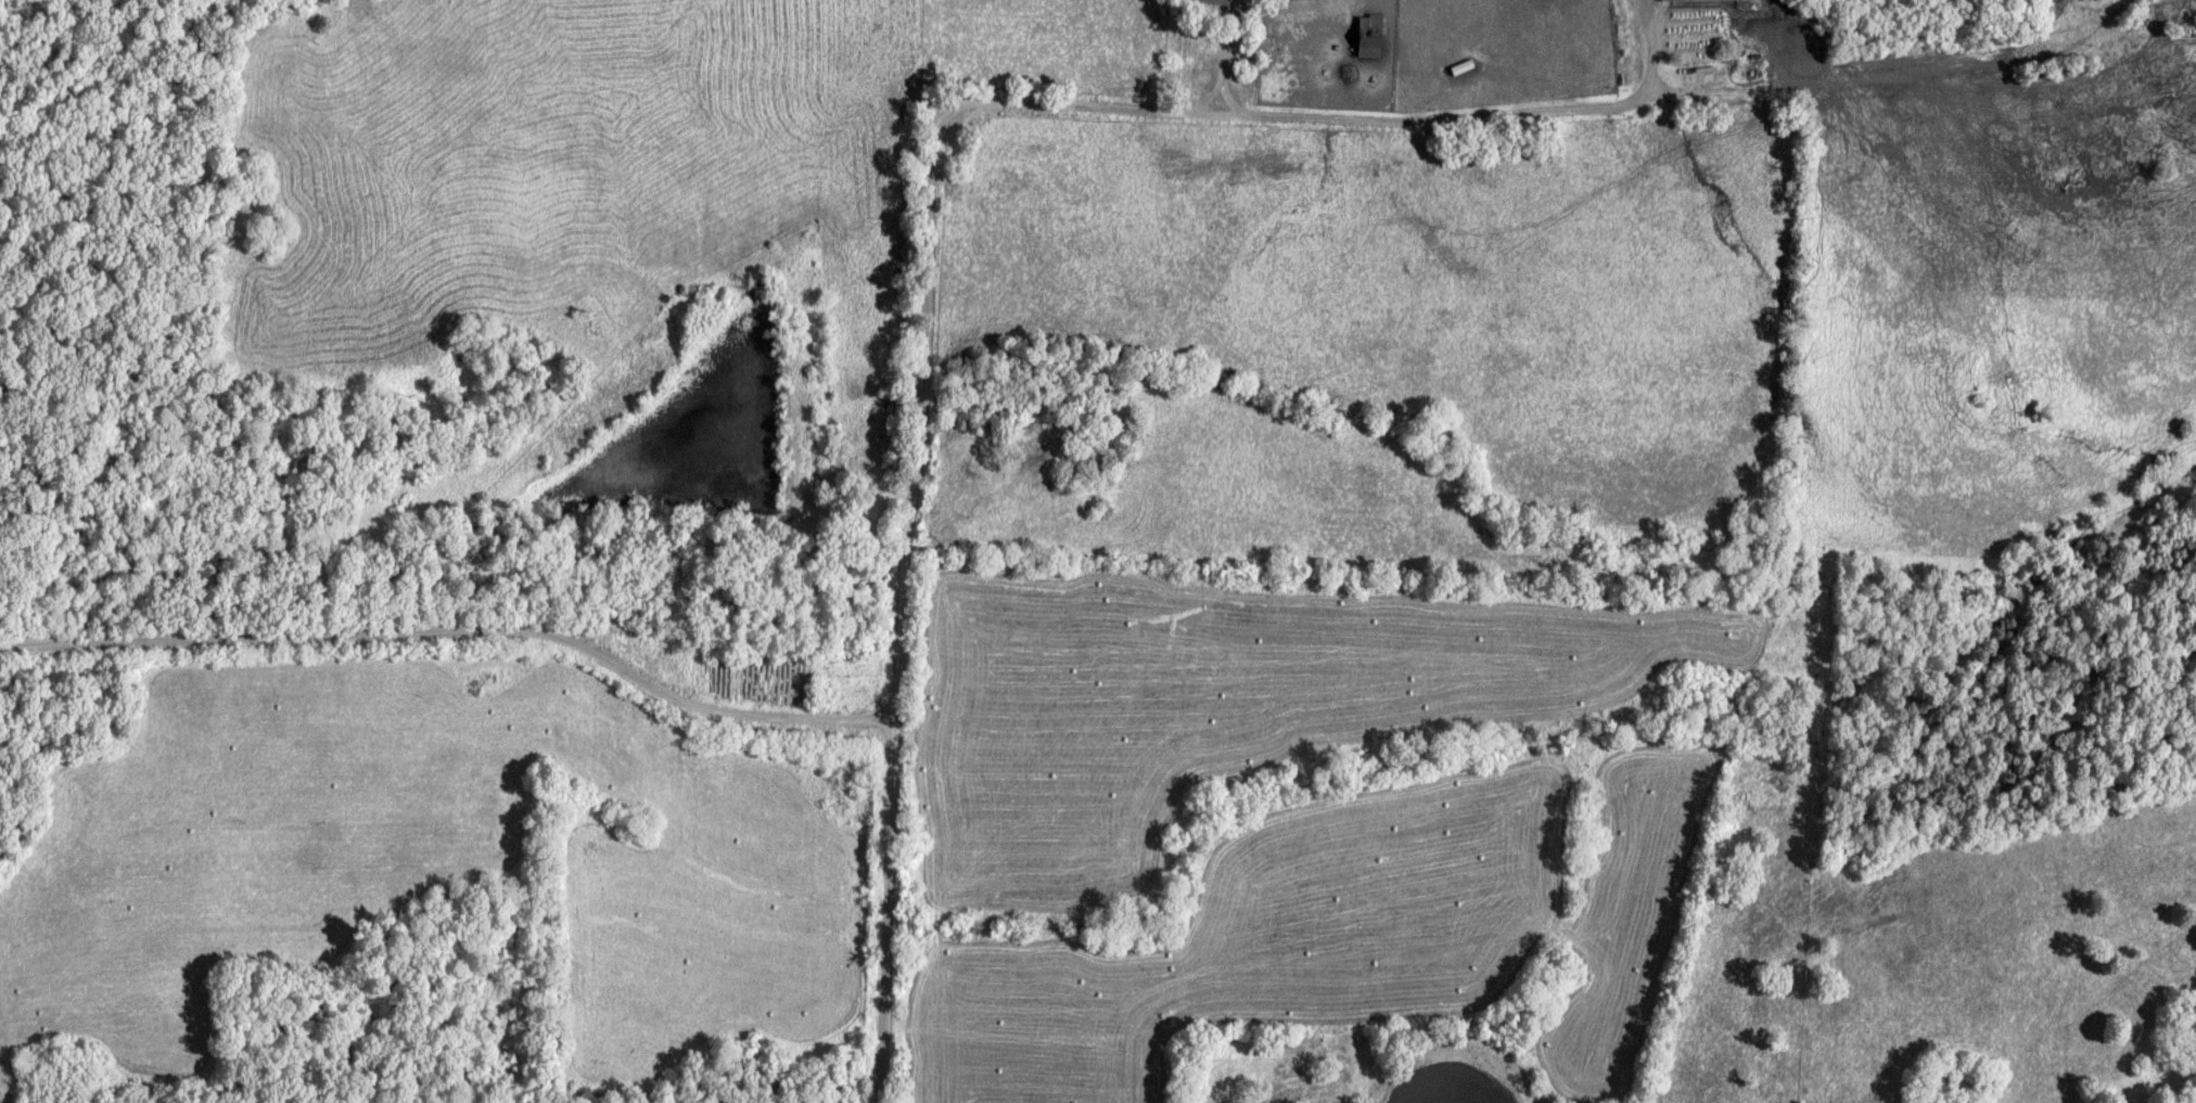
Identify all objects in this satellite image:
building: (1709, 0)
building: (1209, 1)
building: (1367, 20)
building: (1363, 47)
building: (1460, 67)
road: (921, 204)
road: (124, 638)
road: (577, 639)

